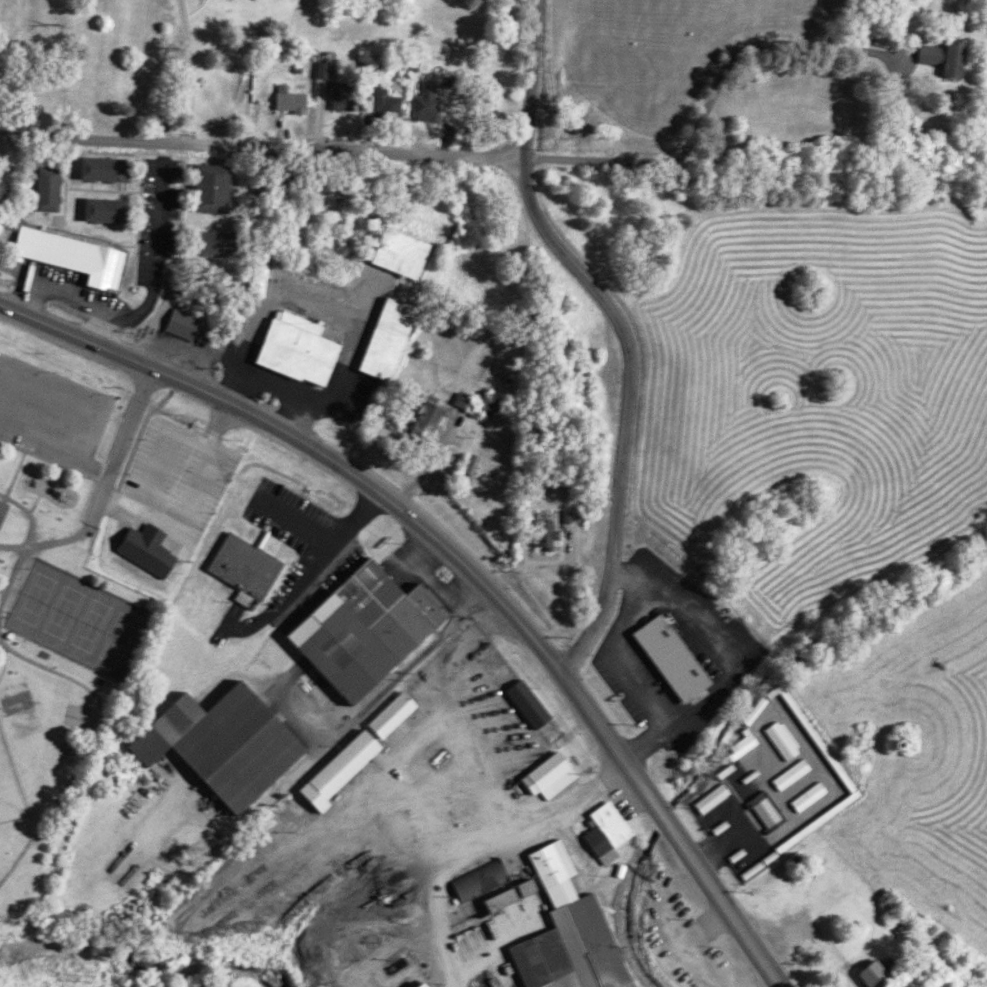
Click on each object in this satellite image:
building: (955, 57)
building: (329, 69)
road: (522, 77)
building: (349, 96)
road: (708, 97)
building: (298, 101)
building: (434, 101)
road: (259, 144)
building: (98, 165)
building: (43, 183)
building: (208, 183)
building: (59, 189)
building: (225, 189)
building: (103, 207)
building: (208, 239)
building: (397, 250)
building: (66, 253)
building: (254, 277)
building: (180, 321)
building: (384, 334)
building: (293, 342)
building: (468, 399)
parking lot: (50, 412)
road: (88, 422)
road: (119, 445)
road: (83, 459)
road: (329, 461)
building: (479, 463)
road: (15, 466)
road: (99, 467)
building: (1, 503)
road: (26, 512)
building: (541, 530)
road: (47, 541)
building: (143, 546)
building: (241, 563)
road: (10, 569)
park: (75, 619)
building: (361, 626)
building: (668, 654)
building: (525, 702)
building: (757, 705)
building: (388, 711)
building: (218, 739)
road: (88, 742)
building: (776, 742)
building: (736, 749)
building: (333, 767)
building: (545, 773)
building: (717, 775)
building: (786, 776)
park: (10, 790)
building: (804, 799)
building: (707, 801)
building: (761, 812)
building: (601, 824)
building: (780, 845)
road: (682, 851)
building: (485, 885)
building: (563, 933)
building: (873, 968)
building: (416, 984)

